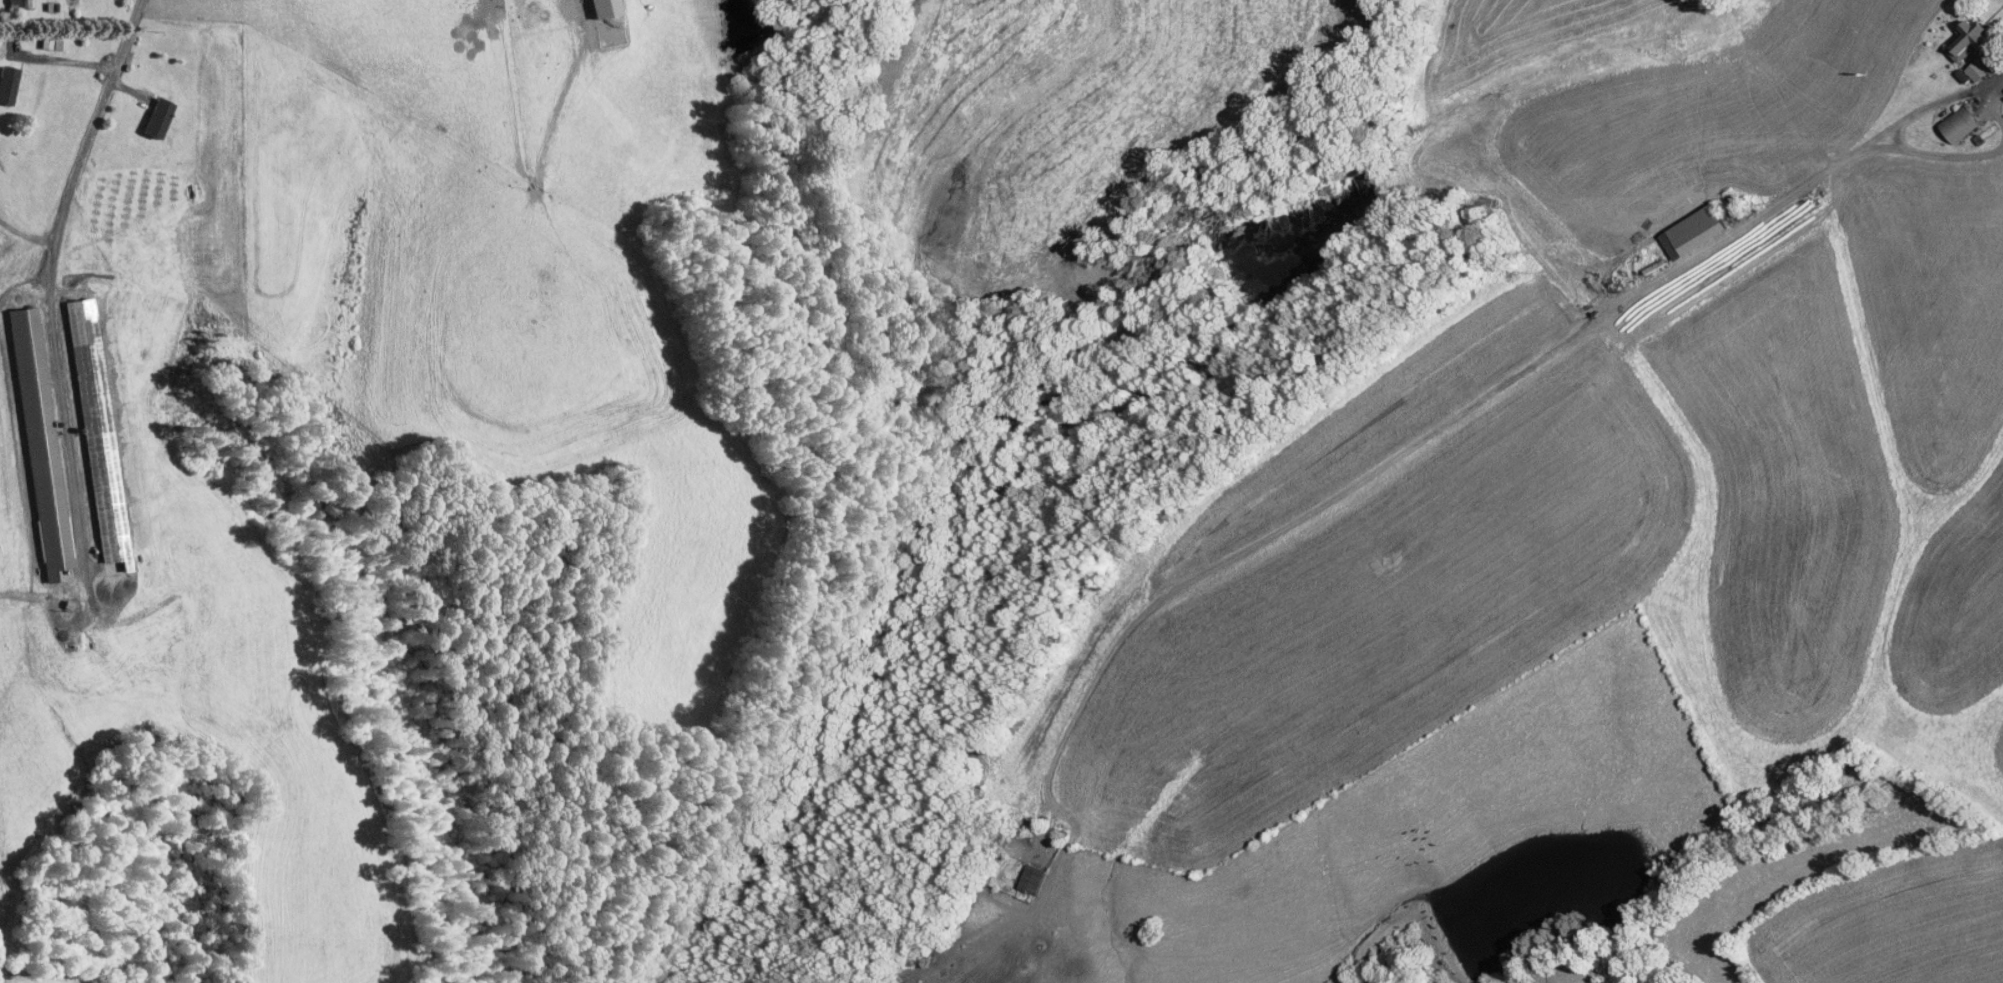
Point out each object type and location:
building: (13, 0)
building: (593, 4)
building: (1957, 31)
building: (41, 36)
building: (1966, 63)
building: (1953, 68)
building: (2, 71)
building: (144, 110)
building: (1950, 116)
building: (1685, 219)
road: (52, 236)
building: (85, 424)
building: (29, 438)
road: (58, 540)
building: (1021, 872)

